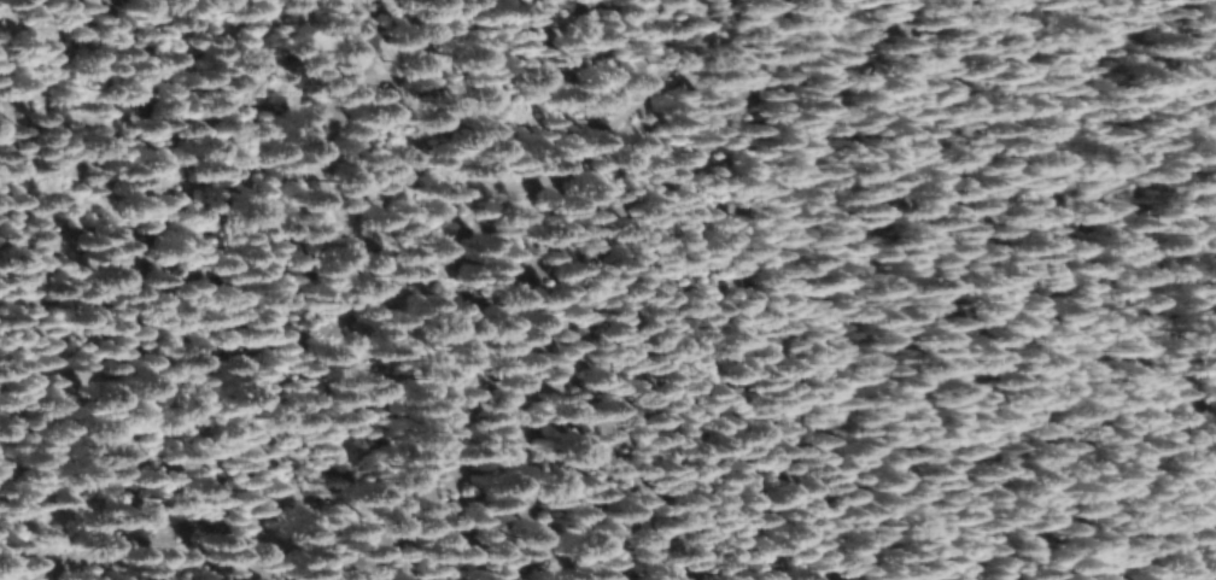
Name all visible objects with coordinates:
road: (428, 440)

